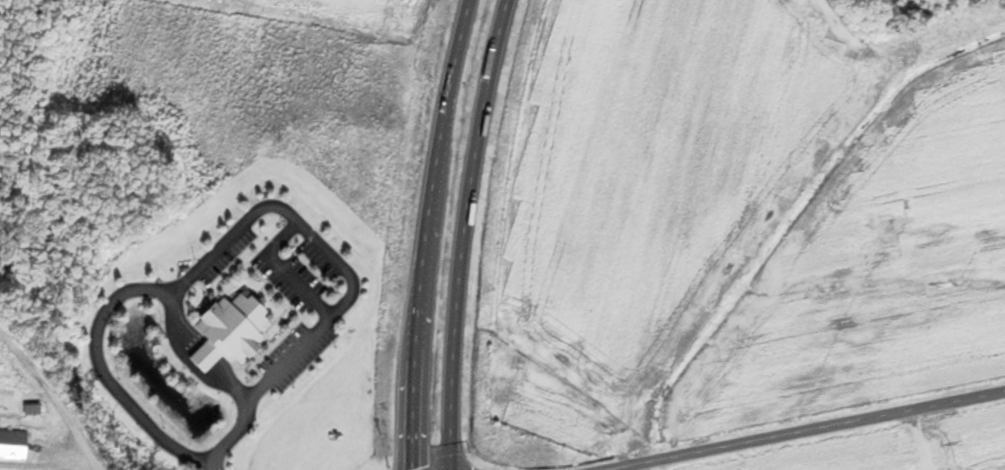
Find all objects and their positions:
road: (426, 233)
road: (462, 233)
building: (221, 332)
road: (53, 398)
building: (28, 410)
road: (804, 430)
building: (12, 446)

